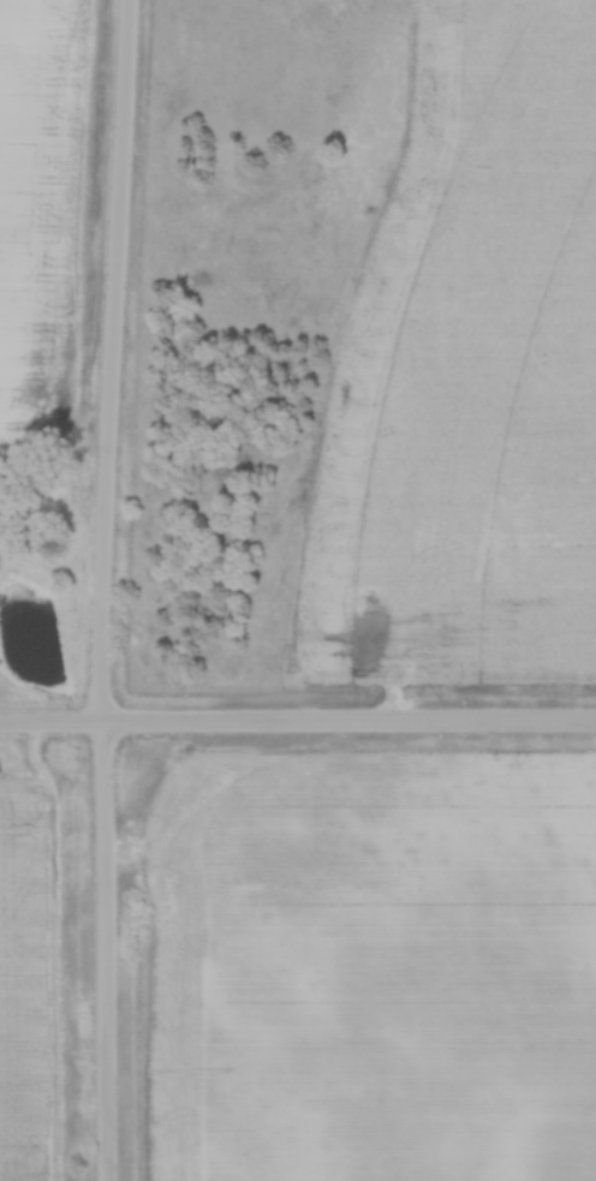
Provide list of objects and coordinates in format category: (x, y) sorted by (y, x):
road: (101, 590)
road: (297, 720)

